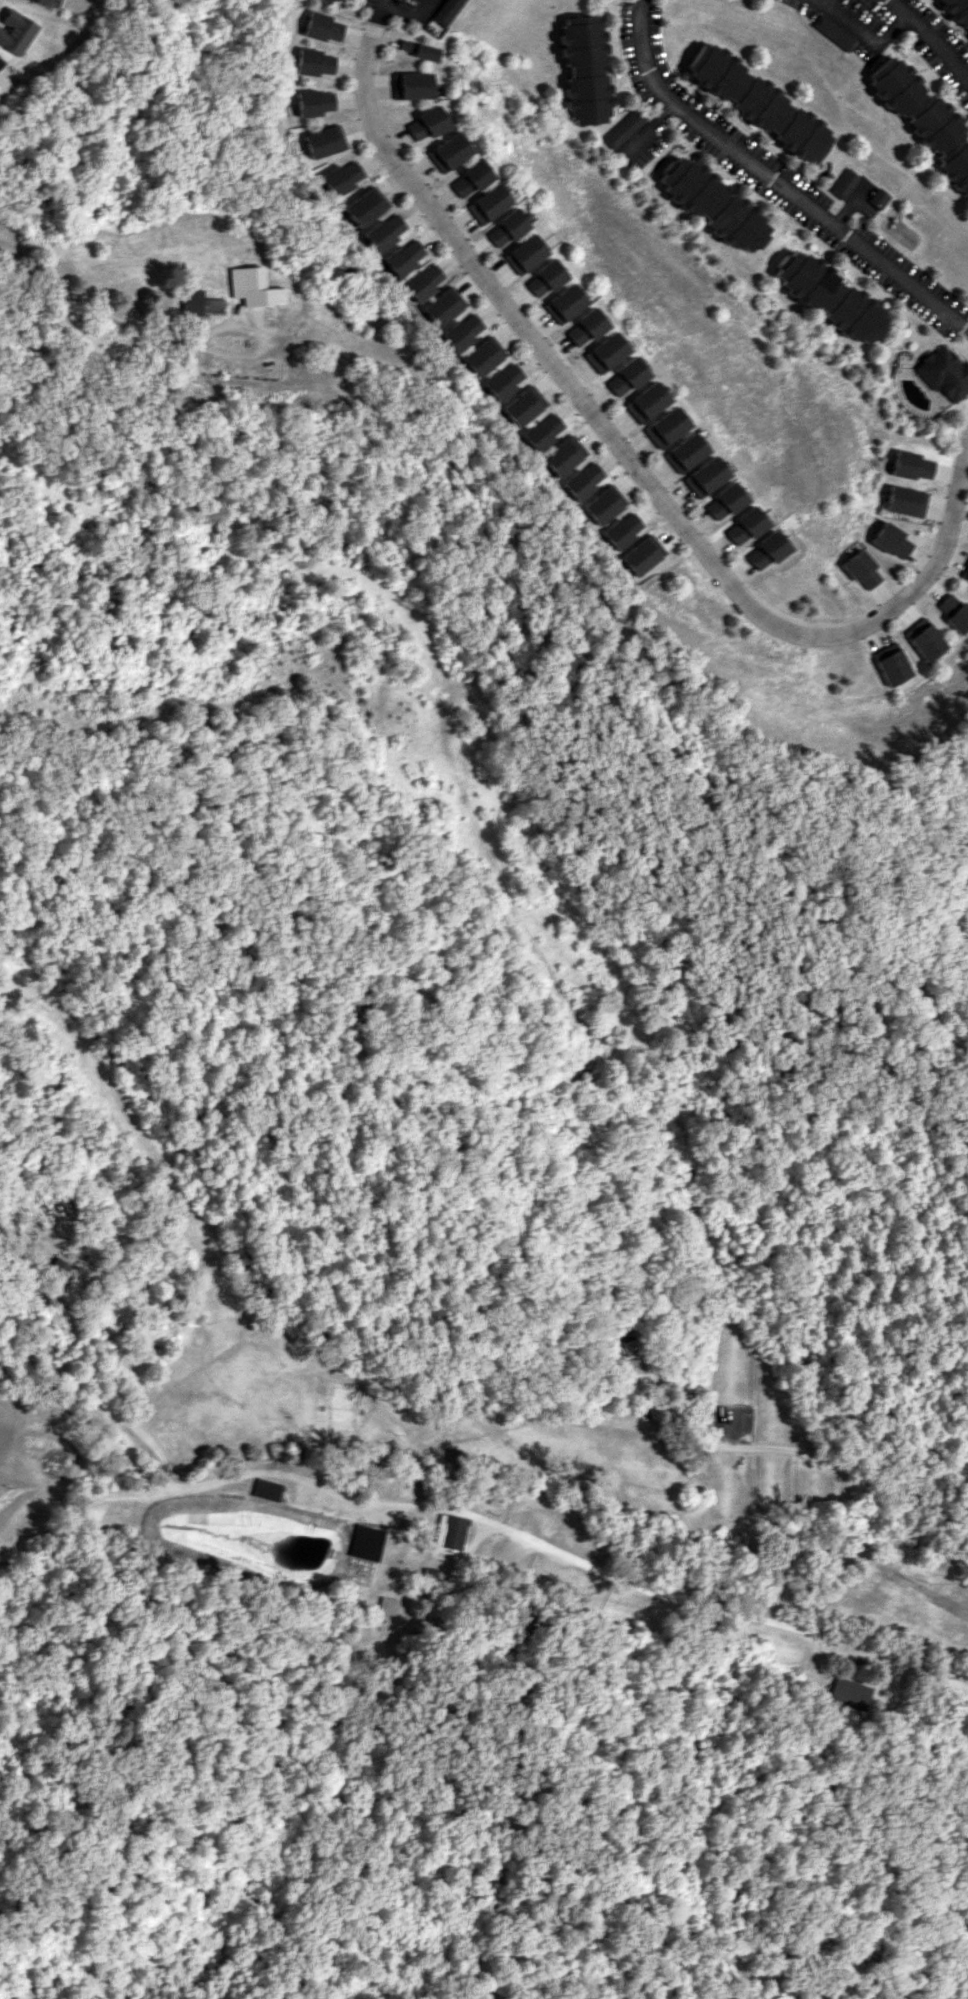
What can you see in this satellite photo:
building: (327, 0)
building: (48, 3)
building: (957, 10)
building: (447, 11)
road: (410, 13)
building: (324, 27)
building: (15, 31)
building: (833, 32)
road: (865, 32)
road: (931, 39)
building: (418, 49)
building: (0, 61)
building: (317, 62)
building: (581, 70)
building: (411, 85)
building: (317, 102)
building: (756, 102)
building: (924, 119)
building: (424, 123)
road: (648, 127)
building: (621, 128)
building: (326, 141)
building: (443, 152)
building: (341, 177)
building: (464, 179)
road: (774, 181)
building: (843, 183)
building: (877, 198)
building: (710, 203)
building: (485, 204)
road: (849, 206)
building: (363, 207)
building: (505, 228)
building: (382, 233)
building: (524, 254)
building: (403, 256)
building: (545, 278)
building: (424, 281)
building: (251, 286)
building: (827, 297)
building: (198, 303)
building: (565, 303)
building: (444, 306)
road: (117, 315)
building: (585, 327)
building: (463, 332)
building: (606, 352)
building: (484, 356)
building: (942, 373)
building: (625, 377)
building: (504, 380)
building: (646, 402)
building: (524, 405)
building: (666, 427)
building: (544, 431)
building: (685, 452)
building: (565, 455)
road: (626, 456)
building: (912, 465)
building: (706, 476)
building: (584, 480)
building: (728, 500)
building: (905, 501)
building: (605, 504)
building: (747, 526)
building: (624, 530)
building: (891, 540)
building: (767, 550)
building: (645, 554)
building: (860, 570)
building: (965, 572)
building: (955, 611)
building: (927, 639)
building: (894, 664)
building: (55, 1269)
building: (621, 1356)
road: (130, 1377)
road: (811, 1470)
building: (266, 1489)
road: (484, 1529)
building: (449, 1532)
building: (365, 1542)
road: (821, 1578)
building: (386, 1605)
building: (850, 1693)

